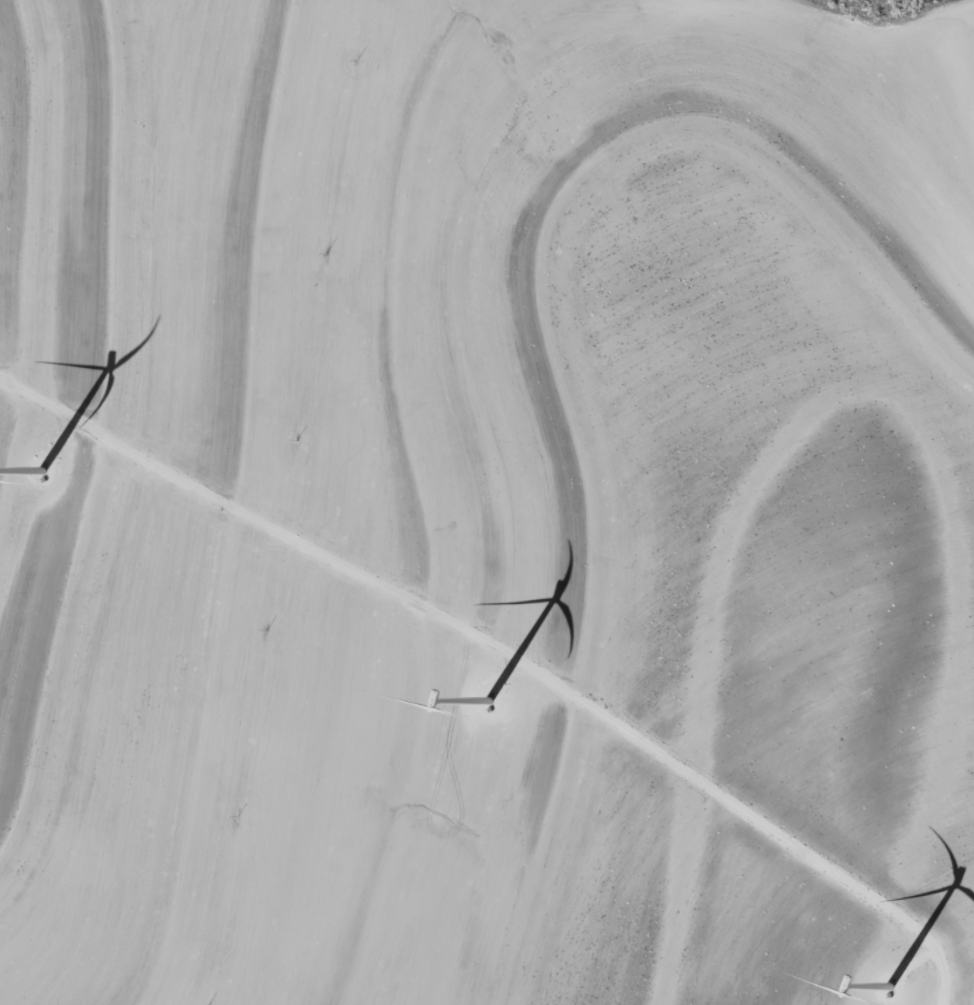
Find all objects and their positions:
wind turbine: (47, 485)
road: (509, 651)
wind turbine: (486, 724)
wind turbine: (892, 957)

